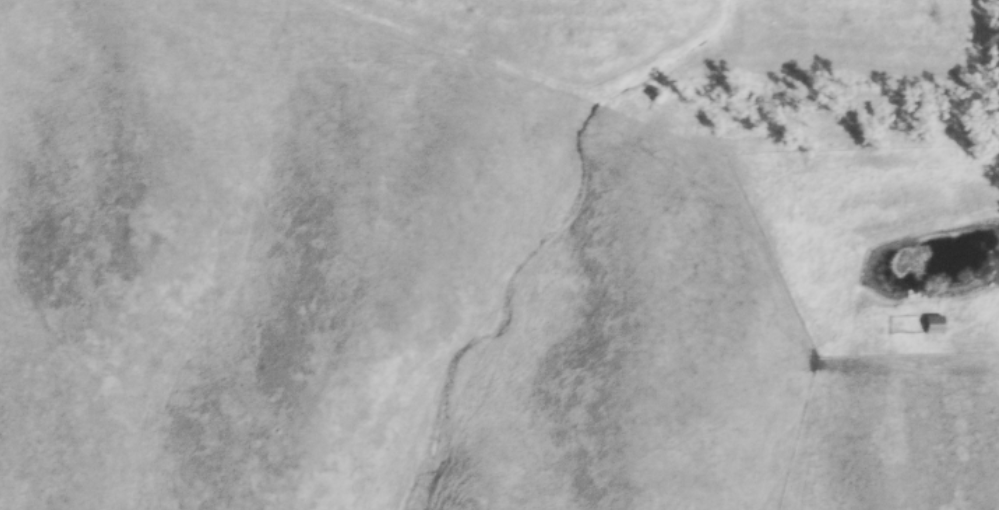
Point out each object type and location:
building: (933, 324)

